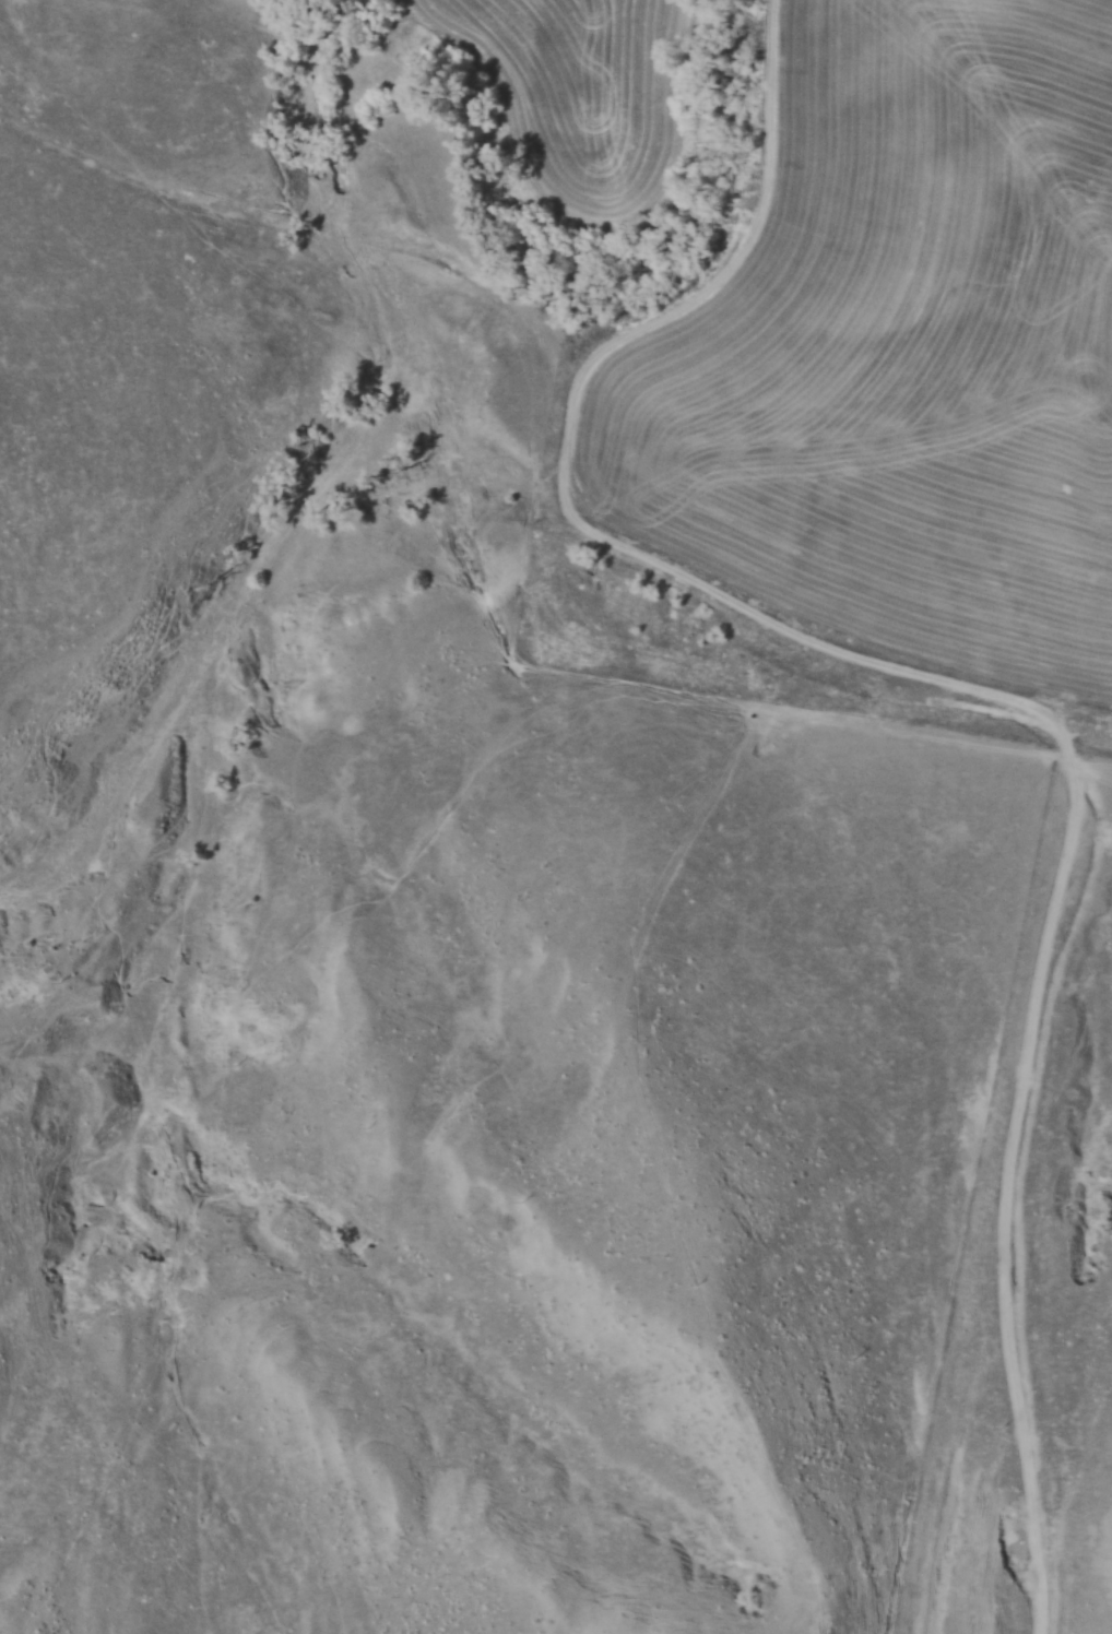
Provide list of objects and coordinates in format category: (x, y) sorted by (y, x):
crop: (578, 91)
crop: (903, 352)

